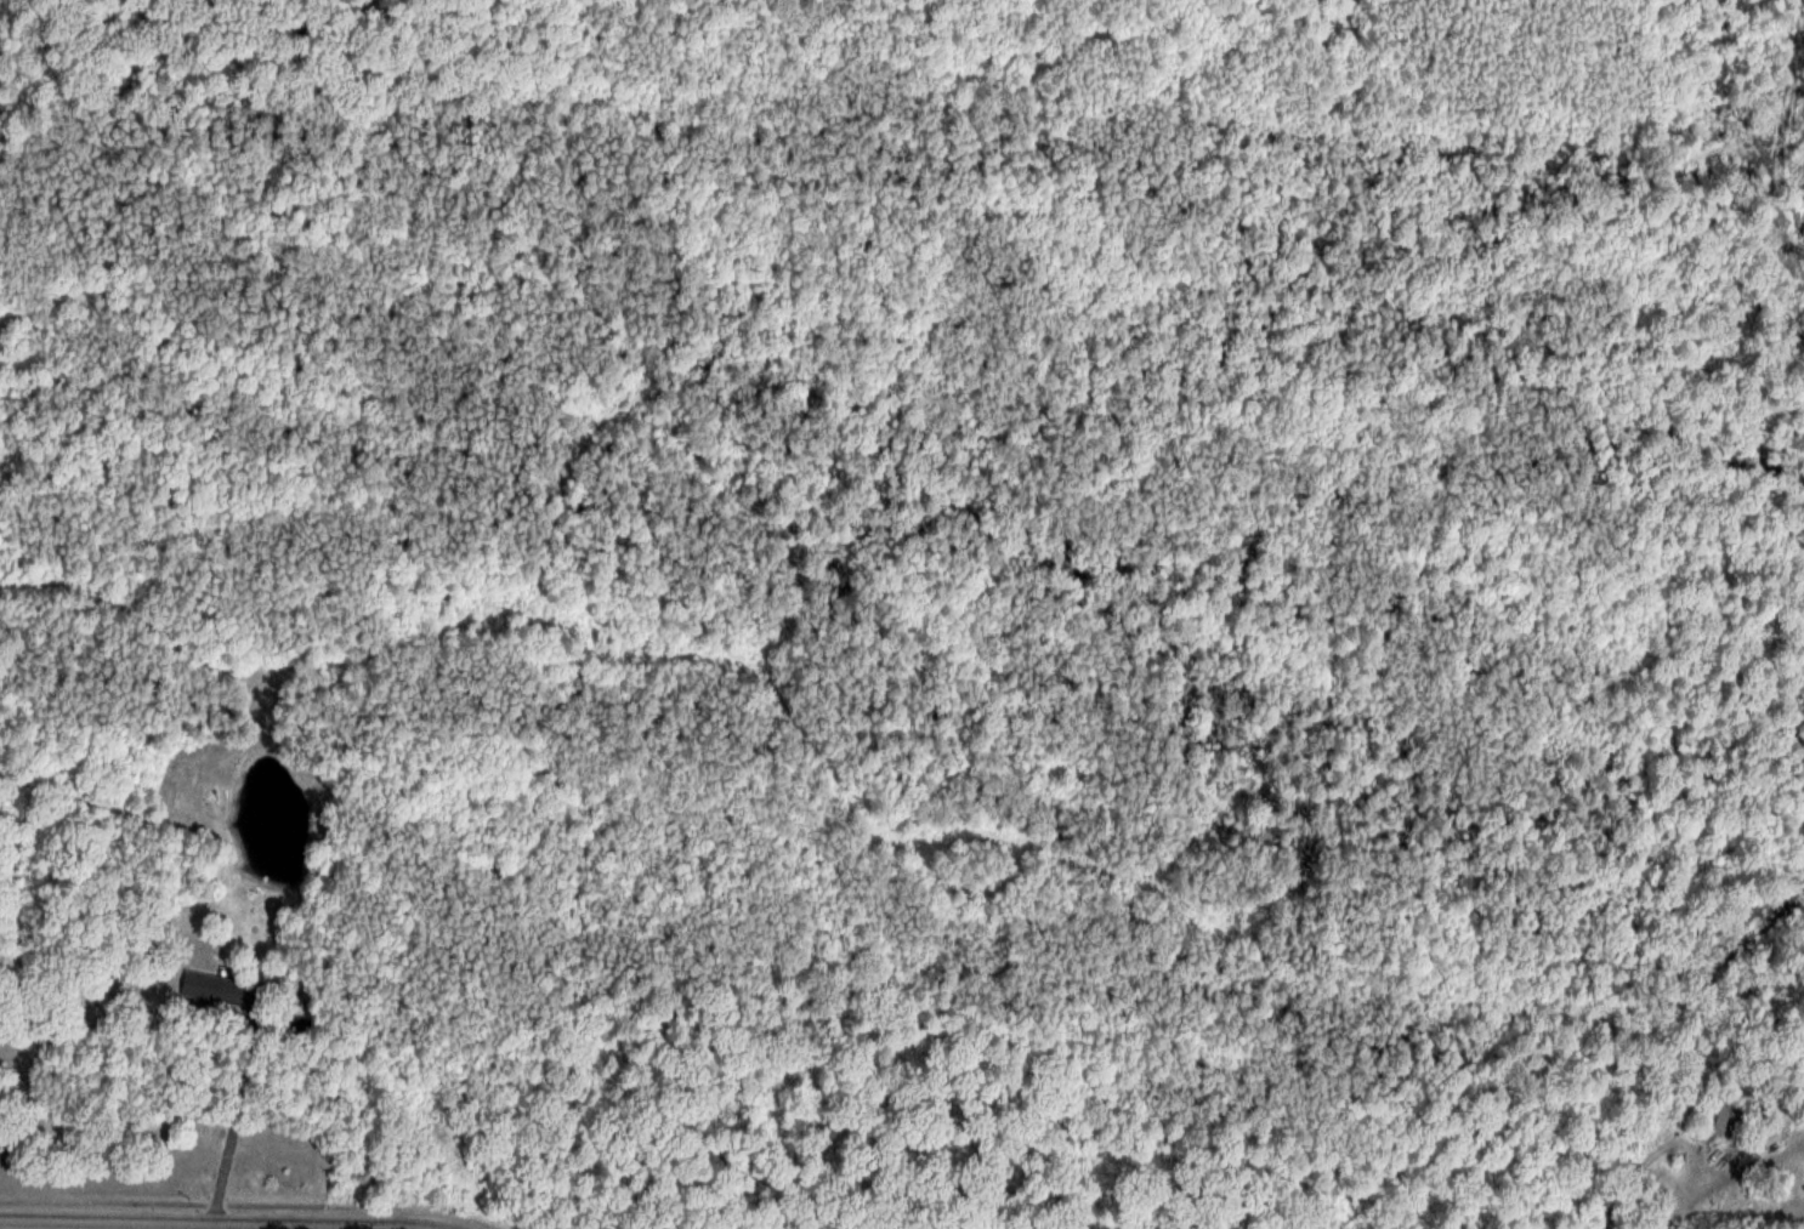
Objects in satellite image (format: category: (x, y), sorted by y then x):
building: (210, 988)
building: (294, 1028)
building: (1715, 1115)
road: (242, 1221)
road: (1663, 1228)

